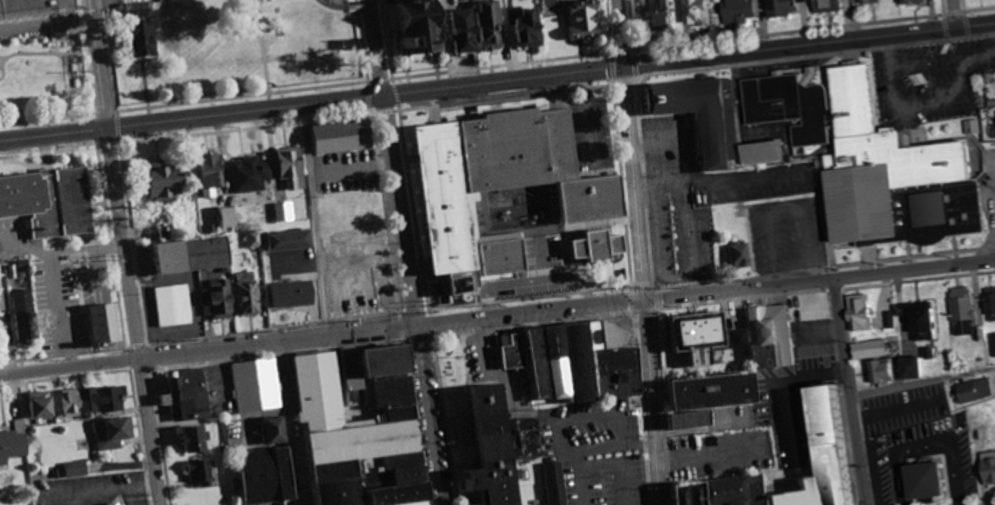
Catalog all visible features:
building: (869, 0)
building: (911, 1)
building: (828, 5)
building: (34, 6)
road: (939, 6)
building: (780, 7)
road: (959, 8)
road: (976, 8)
building: (738, 11)
road: (950, 11)
building: (698, 12)
building: (658, 13)
road: (950, 13)
road: (939, 16)
building: (585, 18)
road: (961, 24)
building: (492, 25)
building: (529, 25)
building: (422, 26)
road: (634, 26)
road: (940, 27)
road: (613, 28)
building: (144, 29)
building: (465, 30)
road: (787, 31)
road: (623, 32)
road: (962, 36)
road: (943, 38)
road: (390, 41)
road: (365, 43)
road: (810, 44)
road: (624, 50)
road: (111, 55)
road: (814, 55)
road: (503, 64)
road: (637, 68)
road: (616, 69)
building: (32, 75)
road: (383, 78)
road: (627, 82)
road: (399, 92)
road: (246, 95)
road: (371, 97)
road: (507, 100)
road: (313, 103)
road: (401, 105)
road: (371, 110)
road: (108, 111)
road: (387, 111)
road: (122, 112)
building: (704, 114)
road: (50, 119)
road: (122, 125)
road: (251, 127)
building: (340, 138)
road: (122, 139)
road: (114, 144)
building: (518, 150)
road: (53, 152)
building: (763, 155)
building: (874, 160)
building: (293, 164)
building: (213, 172)
building: (252, 175)
building: (166, 181)
building: (445, 199)
building: (51, 200)
building: (230, 218)
road: (317, 220)
building: (291, 240)
building: (599, 248)
road: (126, 252)
road: (408, 252)
building: (741, 254)
building: (195, 255)
road: (644, 284)
building: (249, 295)
building: (294, 297)
building: (219, 300)
building: (990, 304)
building: (962, 308)
building: (859, 313)
building: (23, 314)
road: (497, 315)
building: (918, 322)
building: (105, 328)
building: (771, 337)
building: (702, 338)
building: (870, 350)
building: (575, 362)
building: (913, 369)
building: (884, 372)
building: (256, 386)
road: (850, 391)
building: (973, 392)
building: (189, 396)
building: (708, 398)
building: (94, 402)
building: (42, 406)
road: (294, 423)
building: (363, 430)
building: (274, 431)
building: (981, 431)
building: (833, 432)
building: (113, 435)
building: (195, 440)
building: (13, 445)
building: (493, 447)
parking lot: (597, 449)
building: (989, 468)
building: (76, 470)
building: (197, 473)
building: (266, 476)
building: (931, 481)
building: (553, 484)
building: (688, 494)

